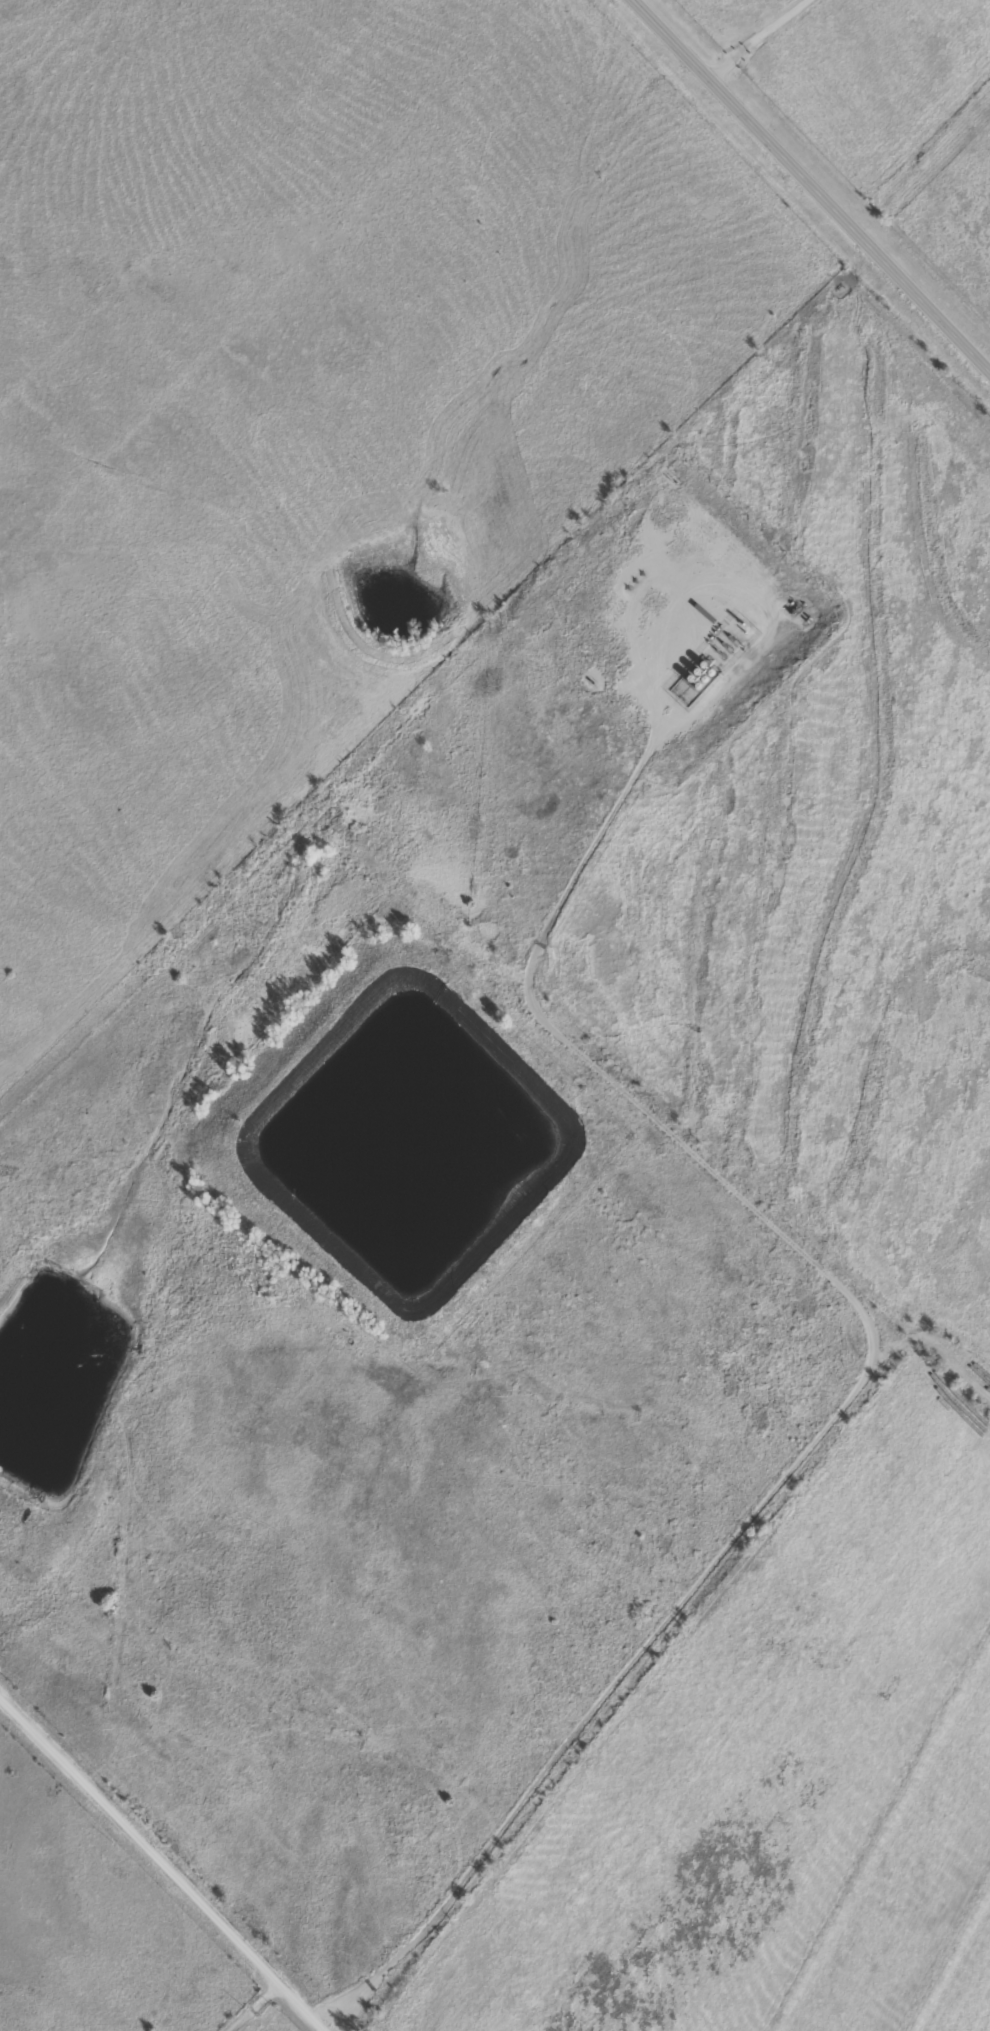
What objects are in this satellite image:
road: (758, 39)
road: (810, 185)
building: (699, 524)
road: (858, 1391)
road: (160, 1851)
road: (257, 2009)

